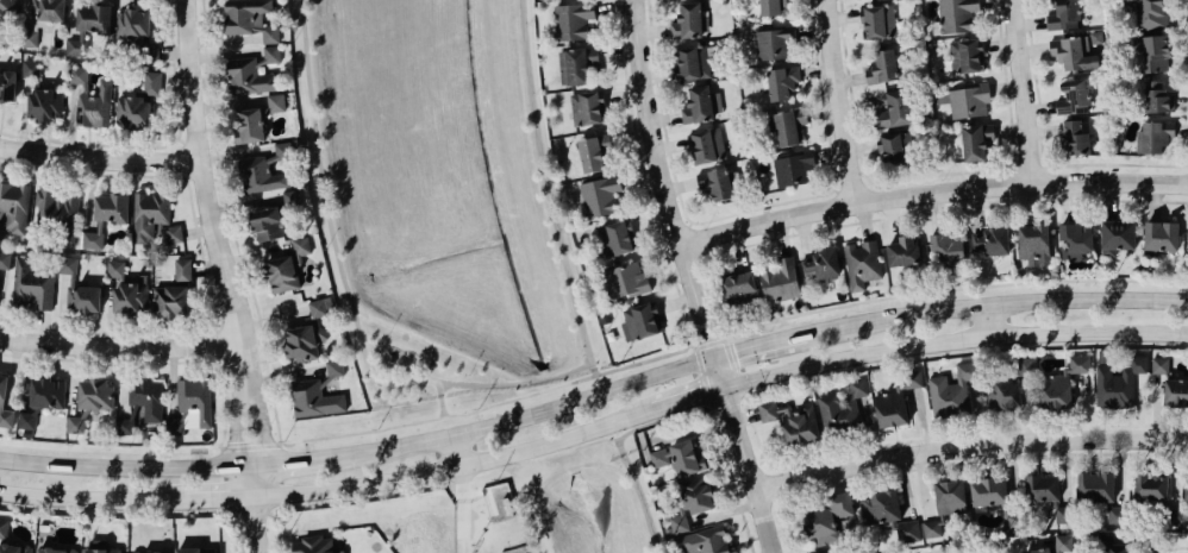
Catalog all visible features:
street lamp: (173, 2)
building: (8, 6)
building: (770, 7)
building: (50, 11)
building: (1150, 13)
building: (1064, 14)
building: (955, 17)
building: (250, 19)
street lamp: (529, 19)
building: (571, 19)
building: (689, 20)
building: (879, 21)
road: (1183, 27)
building: (137, 32)
building: (29, 38)
street lamp: (296, 38)
street lamp: (626, 40)
building: (774, 44)
building: (76, 48)
road: (623, 52)
building: (1075, 52)
building: (271, 54)
building: (1156, 54)
building: (965, 56)
building: (692, 62)
building: (576, 63)
road: (601, 67)
building: (883, 67)
building: (30, 68)
building: (77, 75)
building: (250, 77)
building: (782, 82)
building: (7, 83)
road: (1028, 90)
street lamp: (533, 92)
road: (627, 95)
building: (1074, 98)
building: (1157, 98)
building: (965, 100)
road: (845, 101)
building: (275, 102)
building: (138, 103)
road: (607, 103)
building: (698, 103)
building: (44, 105)
road: (677, 105)
building: (94, 106)
building: (587, 107)
building: (894, 111)
road: (667, 118)
building: (250, 125)
building: (787, 125)
building: (1075, 136)
building: (1157, 136)
road: (629, 137)
building: (976, 142)
street lamp: (207, 144)
building: (707, 144)
road: (158, 146)
road: (673, 146)
building: (895, 149)
road: (686, 150)
road: (215, 151)
road: (1042, 152)
road: (98, 153)
building: (590, 153)
road: (187, 158)
street lamp: (643, 163)
road: (1187, 164)
road: (1044, 165)
building: (794, 168)
road: (1009, 169)
building: (265, 170)
road: (1027, 170)
road: (640, 172)
road: (199, 174)
road: (931, 175)
road: (643, 177)
building: (718, 182)
road: (869, 183)
road: (683, 186)
road: (544, 189)
road: (851, 189)
road: (696, 190)
road: (834, 190)
road: (933, 191)
building: (599, 196)
building: (292, 199)
building: (14, 206)
building: (58, 212)
road: (744, 212)
building: (106, 218)
building: (154, 218)
road: (656, 222)
building: (268, 224)
road: (689, 225)
street lamp: (562, 228)
road: (638, 233)
road: (804, 235)
road: (780, 237)
building: (1118, 237)
building: (1162, 237)
building: (612, 238)
building: (1077, 239)
road: (693, 240)
building: (993, 240)
road: (331, 241)
building: (1034, 244)
park: (457, 245)
street lamp: (324, 246)
road: (737, 247)
building: (949, 249)
building: (1187, 249)
building: (905, 250)
road: (700, 257)
building: (5, 260)
building: (821, 263)
building: (862, 263)
building: (67, 265)
road: (204, 265)
building: (182, 268)
building: (287, 268)
road: (650, 274)
road: (671, 276)
road: (695, 278)
building: (626, 279)
building: (780, 279)
building: (32, 284)
building: (740, 284)
road: (707, 287)
street lamp: (1049, 290)
building: (131, 296)
building: (83, 300)
road: (995, 300)
building: (171, 301)
road: (679, 301)
road: (662, 313)
road: (992, 316)
building: (640, 321)
road: (214, 327)
street lamp: (770, 329)
building: (309, 333)
street lamp: (692, 333)
street lamp: (384, 337)
road: (725, 337)
road: (956, 339)
road: (432, 341)
road: (762, 341)
road: (119, 344)
road: (219, 344)
road: (690, 345)
traffic signals: (719, 352)
road: (962, 353)
street lamp: (113, 356)
road: (151, 360)
road: (221, 362)
building: (1159, 365)
building: (1025, 366)
building: (334, 367)
road: (732, 367)
road: (265, 370)
street lamp: (746, 370)
street lamp: (468, 373)
road: (389, 376)
road: (702, 376)
building: (913, 378)
road: (519, 382)
building: (1119, 382)
building: (1062, 384)
traffic signals: (729, 385)
building: (858, 388)
building: (48, 392)
building: (1176, 392)
building: (949, 394)
building: (1002, 394)
road: (689, 396)
building: (195, 398)
building: (314, 400)
building: (90, 402)
building: (5, 404)
building: (142, 404)
road: (489, 406)
road: (604, 407)
building: (890, 408)
building: (837, 409)
building: (768, 410)
street lamp: (717, 411)
road: (527, 413)
road: (748, 416)
street lamp: (269, 420)
road: (921, 420)
building: (27, 421)
road: (261, 422)
road: (238, 423)
building: (800, 423)
building: (175, 426)
road: (642, 426)
road: (695, 431)
road: (867, 432)
road: (940, 435)
street lamp: (379, 439)
road: (895, 441)
road: (279, 442)
road: (724, 442)
road: (220, 445)
road: (971, 445)
road: (250, 446)
road: (848, 447)
street lamp: (70, 452)
street lamp: (173, 454)
building: (680, 455)
road: (809, 457)
road: (564, 459)
road: (301, 461)
road: (953, 463)
road: (455, 465)
road: (133, 467)
road: (531, 467)
road: (734, 478)
road: (732, 479)
road: (524, 482)
building: (1042, 488)
building: (1151, 488)
building: (1186, 489)
building: (989, 491)
building: (1100, 491)
building: (698, 494)
road: (636, 495)
building: (950, 496)
road: (89, 498)
road: (217, 501)
street lamp: (646, 502)
building: (506, 505)
building: (881, 507)
road: (461, 508)
road: (726, 510)
building: (1063, 515)
building: (826, 520)
building: (679, 523)
street lamp: (242, 527)
road: (256, 527)
building: (4, 528)
building: (933, 530)
road: (788, 532)
building: (907, 532)
road: (752, 539)
building: (704, 541)
road: (271, 542)
building: (314, 545)
building: (1057, 545)
building: (101, 547)
road: (983, 547)
building: (14, 548)
building: (1117, 548)
road: (1173, 548)
building: (188, 549)
building: (514, 549)
wastewater plant: (514, 549)
building: (56, 551)
building: (833, 551)
building: (143, 552)
building: (699, 552)
road: (776, 552)
street lamp: (783, 552)

